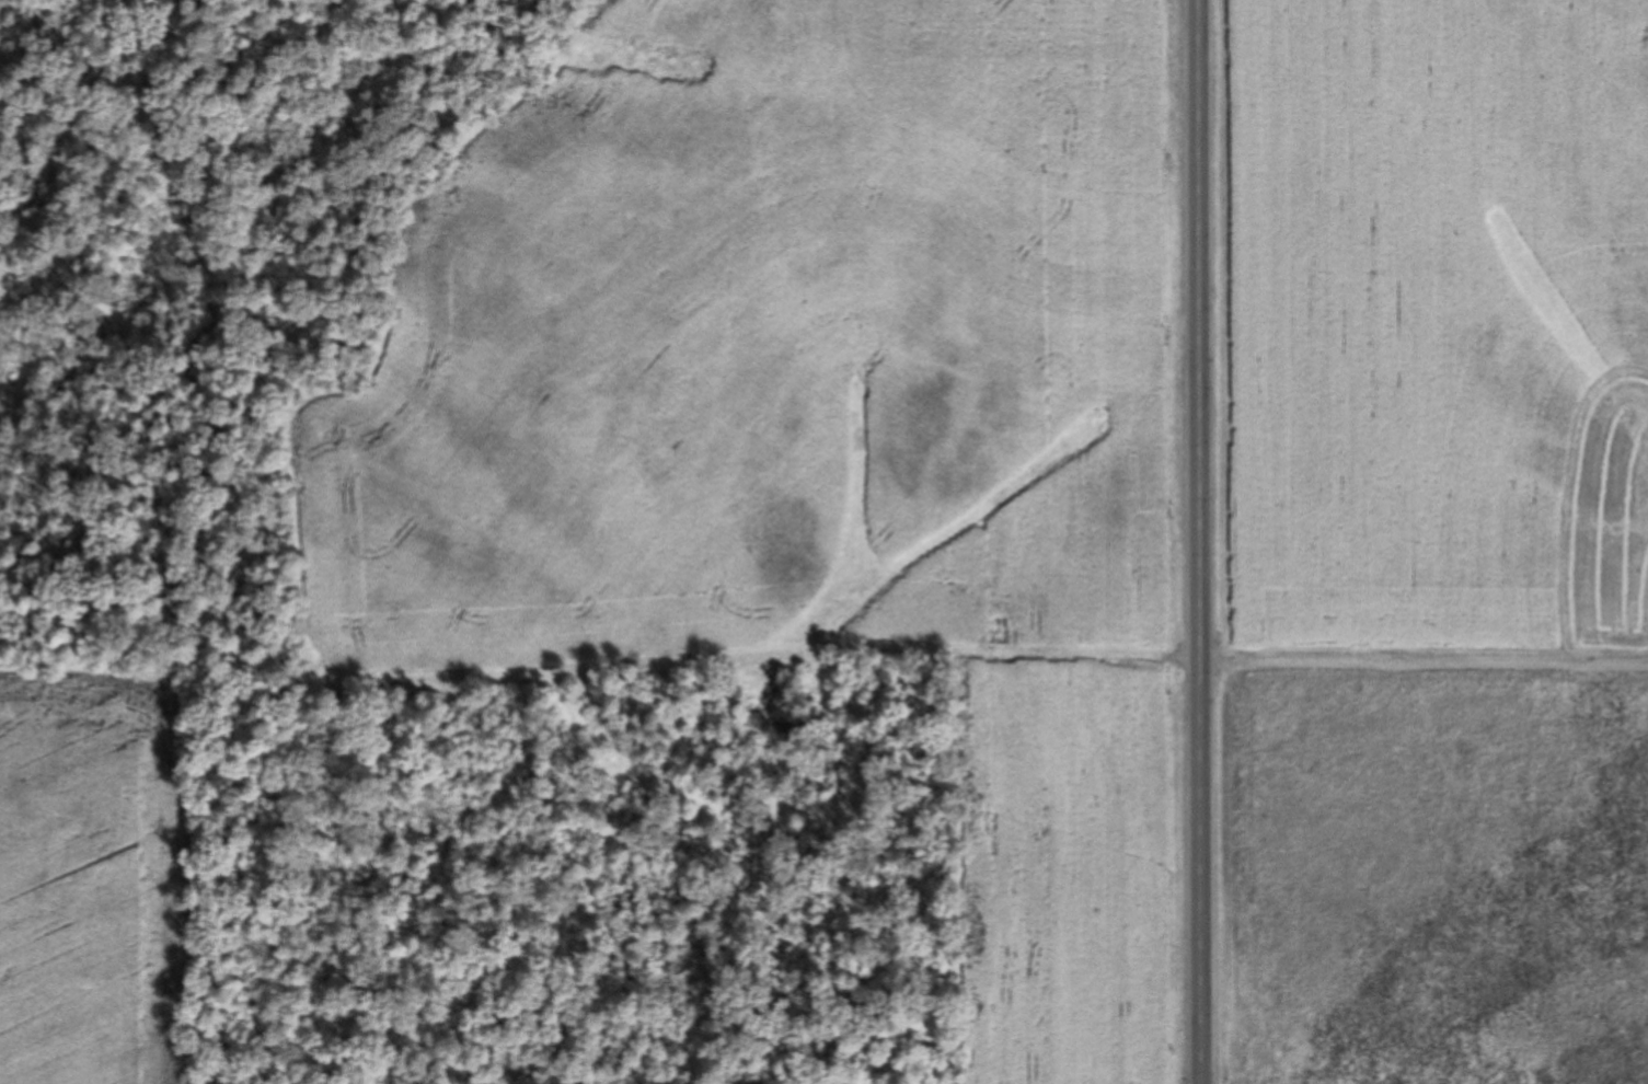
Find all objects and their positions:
road: (1205, 542)

